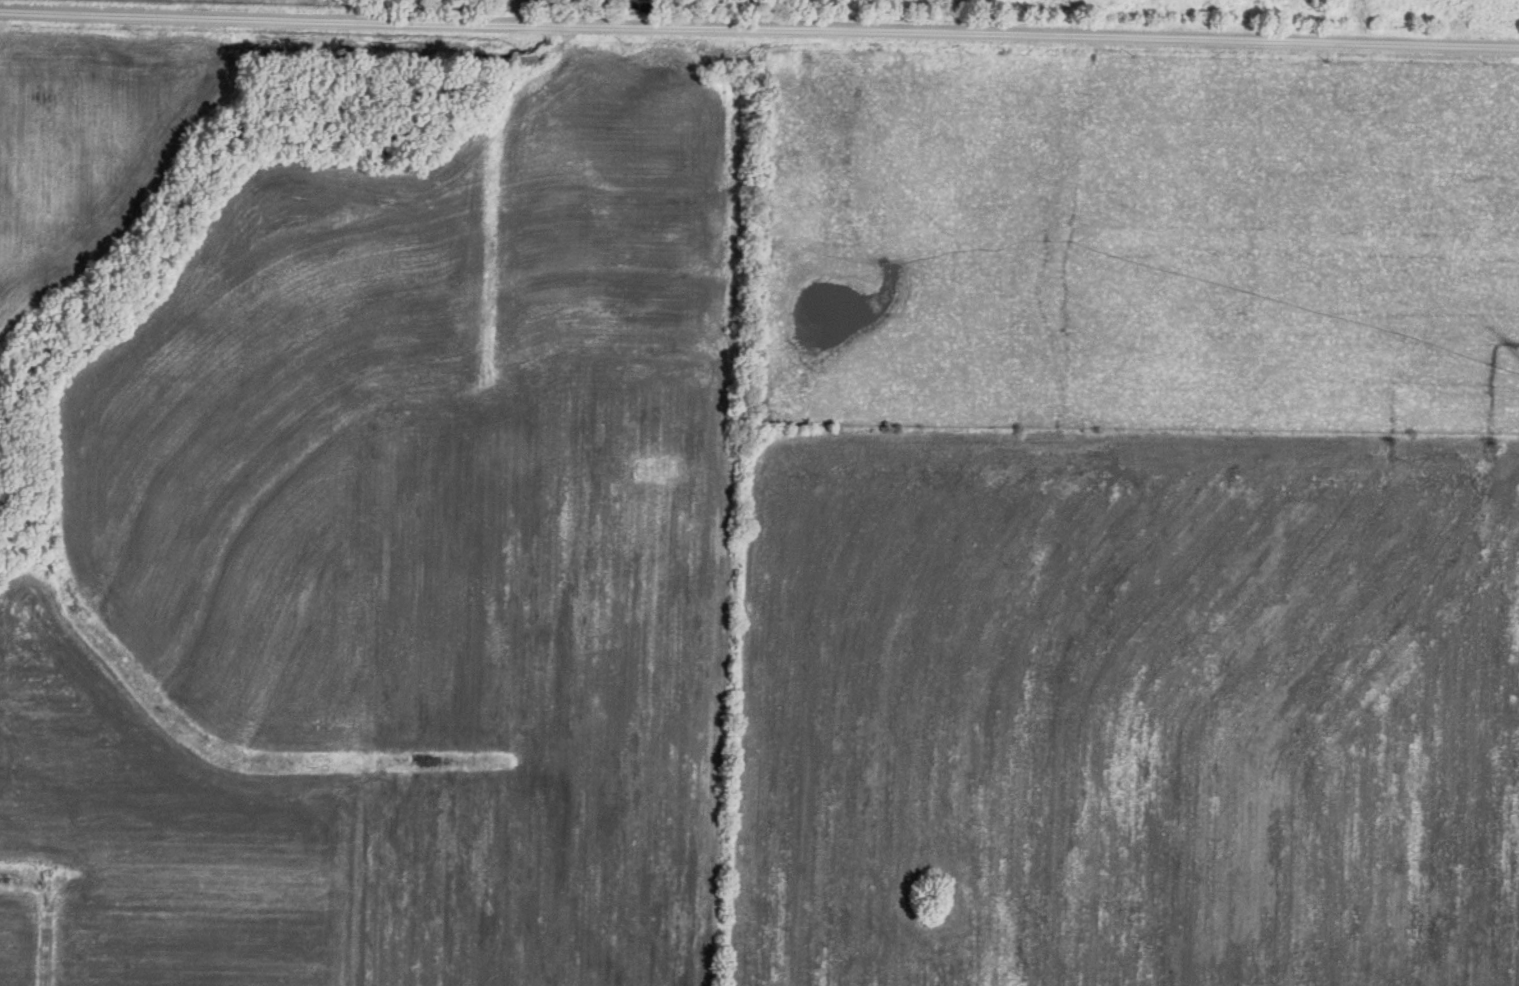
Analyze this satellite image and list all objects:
road: (879, 28)

